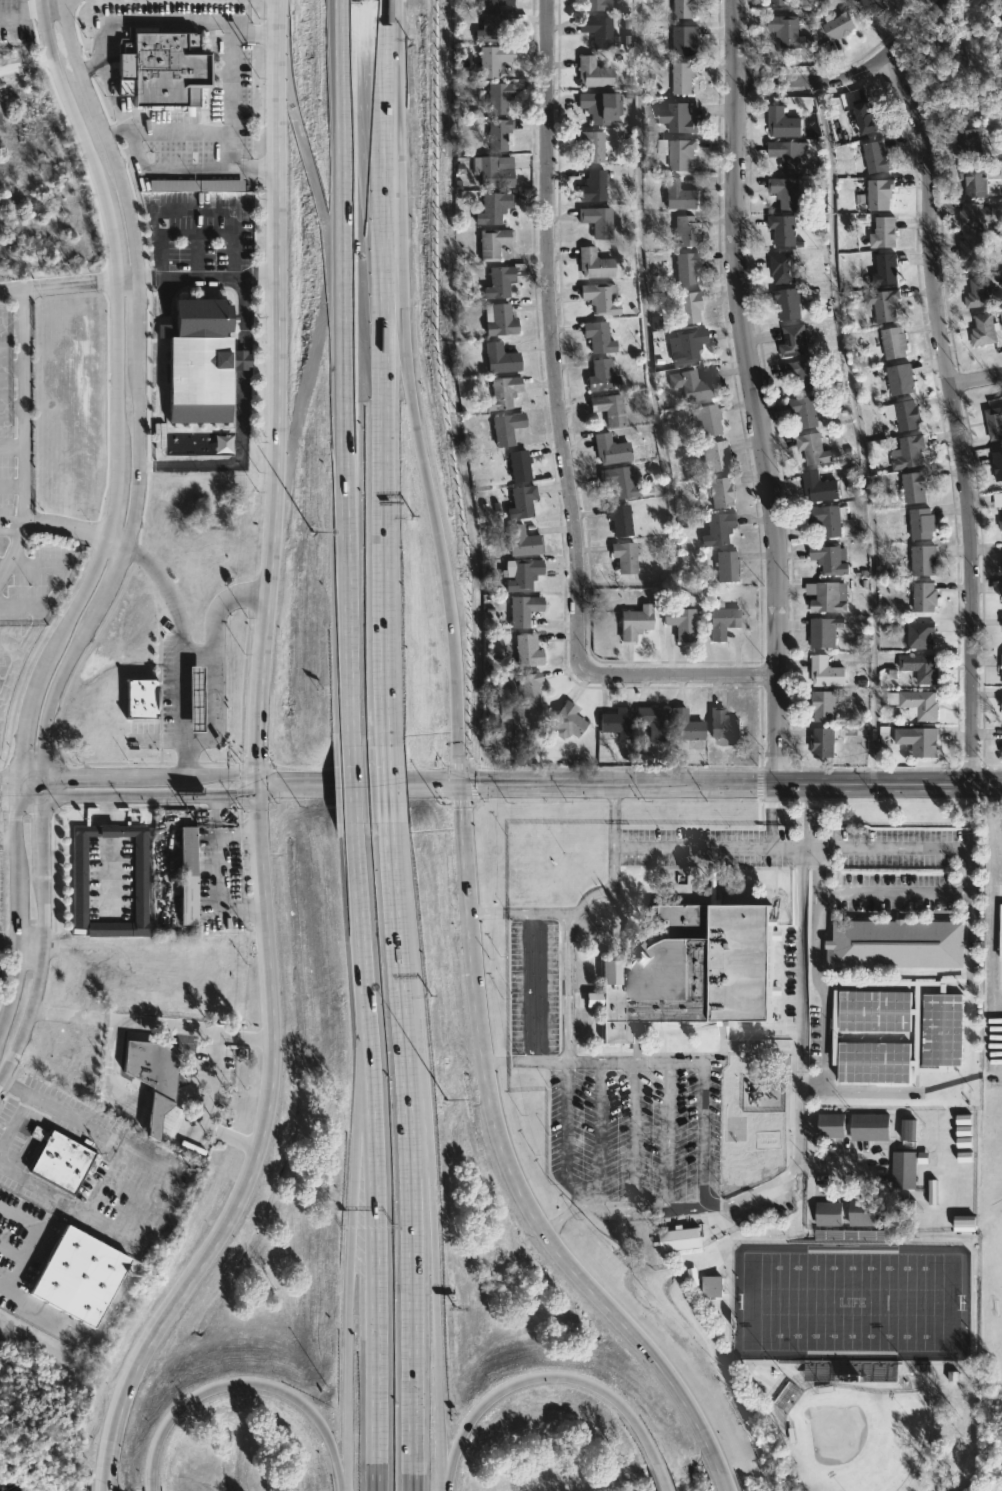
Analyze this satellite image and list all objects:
road: (280, 1)
building: (499, 2)
building: (781, 2)
building: (598, 4)
building: (875, 6)
road: (21, 7)
building: (686, 8)
road: (31, 11)
road: (11, 18)
building: (840, 24)
building: (495, 25)
building: (597, 30)
building: (788, 30)
building: (686, 40)
building: (493, 59)
building: (936, 65)
road: (92, 66)
building: (169, 68)
building: (594, 73)
road: (108, 74)
building: (684, 76)
road: (854, 77)
building: (500, 97)
road: (230, 102)
building: (958, 105)
building: (602, 106)
building: (679, 117)
building: (784, 123)
road: (114, 130)
building: (498, 134)
building: (592, 144)
building: (966, 144)
building: (678, 152)
building: (793, 154)
building: (878, 157)
building: (498, 171)
building: (976, 177)
road: (394, 178)
building: (593, 185)
building: (196, 186)
building: (788, 192)
building: (882, 193)
building: (680, 195)
building: (494, 208)
road: (193, 210)
building: (973, 217)
building: (597, 221)
building: (785, 229)
building: (686, 231)
building: (884, 233)
building: (495, 242)
building: (972, 253)
road: (116, 263)
building: (594, 263)
building: (686, 267)
building: (784, 267)
building: (887, 270)
road: (208, 277)
road: (78, 281)
building: (500, 282)
road: (10, 290)
building: (976, 292)
building: (600, 298)
building: (791, 303)
building: (885, 304)
building: (687, 307)
road: (242, 313)
building: (501, 320)
building: (985, 327)
road: (644, 330)
building: (599, 337)
building: (796, 340)
building: (895, 343)
building: (686, 346)
building: (502, 358)
road: (242, 359)
building: (198, 362)
road: (382, 371)
road: (345, 372)
building: (806, 374)
building: (601, 376)
building: (902, 379)
road: (976, 380)
building: (689, 387)
building: (503, 392)
road: (755, 392)
road: (137, 403)
building: (609, 408)
building: (806, 411)
building: (904, 415)
road: (954, 416)
building: (706, 420)
building: (995, 422)
building: (506, 428)
road: (565, 430)
road: (859, 432)
road: (20, 434)
road: (10, 444)
building: (816, 448)
building: (610, 450)
building: (909, 452)
building: (715, 456)
road: (235, 463)
road: (422, 465)
building: (522, 465)
building: (998, 465)
building: (619, 482)
road: (10, 483)
building: (916, 487)
building: (818, 488)
building: (723, 490)
building: (997, 500)
building: (524, 501)
building: (619, 519)
building: (829, 519)
road: (10, 522)
building: (923, 524)
road: (64, 525)
building: (1001, 525)
building: (718, 529)
building: (524, 542)
building: (624, 557)
building: (831, 558)
building: (925, 561)
building: (1000, 565)
road: (2, 566)
building: (727, 567)
building: (523, 574)
building: (997, 587)
building: (829, 597)
building: (925, 597)
building: (525, 610)
building: (722, 620)
building: (635, 622)
building: (681, 624)
road: (181, 628)
building: (825, 633)
building: (919, 635)
building: (530, 650)
road: (195, 651)
road: (209, 656)
building: (921, 668)
building: (1000, 669)
building: (827, 672)
building: (528, 689)
building: (917, 704)
building: (825, 706)
building: (567, 721)
building: (653, 722)
building: (617, 723)
building: (685, 726)
building: (727, 726)
road: (457, 733)
building: (920, 741)
building: (824, 742)
road: (258, 761)
road: (16, 773)
road: (138, 775)
road: (8, 777)
road: (350, 783)
road: (385, 783)
traffic signals: (258, 784)
road: (358, 784)
traffic signals: (459, 785)
road: (730, 785)
road: (611, 794)
road: (151, 796)
road: (769, 797)
road: (7, 799)
road: (28, 799)
road: (215, 816)
road: (770, 828)
road: (7, 838)
road: (611, 847)
road: (707, 847)
road: (884, 848)
road: (809, 849)
road: (107, 851)
road: (217, 872)
road: (816, 875)
building: (187, 877)
building: (80, 878)
road: (917, 893)
road: (587, 894)
road: (485, 911)
road: (573, 912)
road: (535, 913)
road: (991, 917)
road: (358, 918)
road: (619, 920)
road: (580, 924)
building: (999, 932)
road: (6, 943)
building: (895, 944)
road: (43, 945)
road: (28, 949)
road: (398, 950)
building: (698, 971)
road: (533, 987)
road: (567, 987)
road: (825, 1014)
road: (76, 1017)
road: (200, 1028)
road: (113, 1056)
road: (537, 1061)
road: (617, 1061)
road: (687, 1061)
road: (495, 1062)
building: (155, 1077)
road: (867, 1090)
road: (798, 1091)
road: (18, 1106)
road: (202, 1110)
road: (356, 1119)
building: (834, 1124)
road: (420, 1125)
building: (872, 1126)
building: (909, 1129)
road: (564, 1134)
road: (597, 1134)
road: (668, 1134)
road: (704, 1134)
road: (634, 1135)
building: (61, 1160)
road: (505, 1160)
building: (906, 1170)
road: (573, 1207)
building: (910, 1209)
building: (869, 1212)
building: (830, 1213)
road: (556, 1222)
building: (962, 1222)
building: (683, 1239)
road: (32, 1241)
road: (376, 1252)
building: (79, 1275)
road: (412, 1283)
park: (852, 1302)
road: (435, 1331)
road: (346, 1358)
road: (563, 1377)
road: (223, 1386)
park: (857, 1438)
road: (449, 1465)
road: (337, 1469)
road: (659, 1477)
road: (719, 1481)
road: (108, 1488)
road: (442, 1490)

